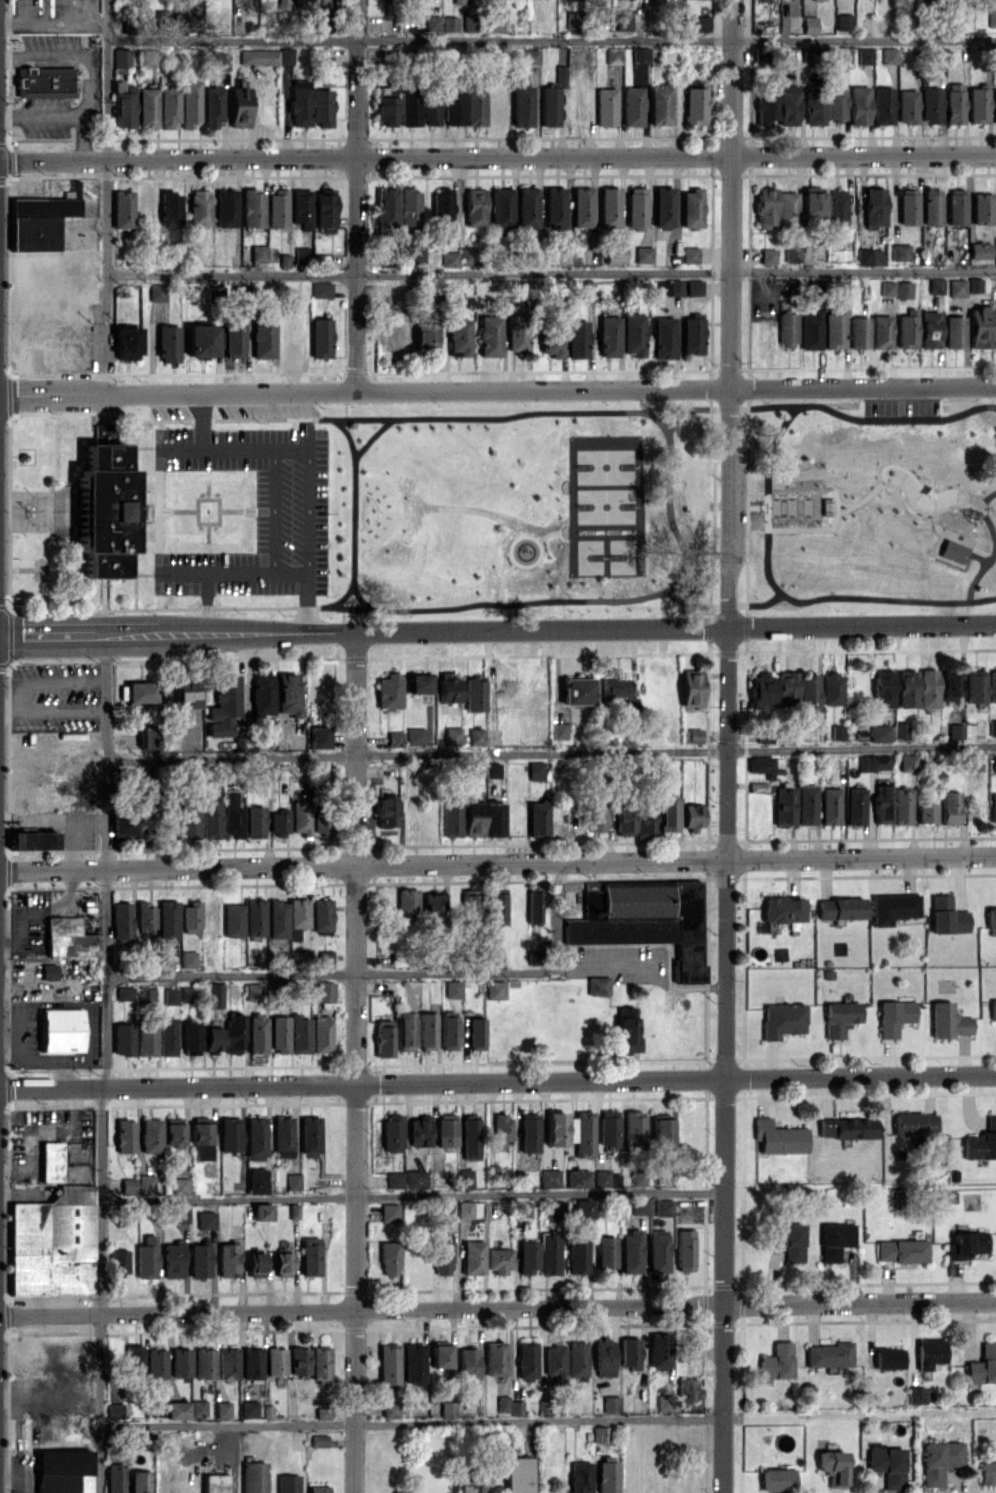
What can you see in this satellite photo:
building: (299, 0)
building: (809, 0)
building: (457, 1)
building: (280, 4)
building: (991, 18)
building: (570, 19)
building: (623, 19)
building: (180, 21)
building: (844, 21)
road: (53, 22)
building: (495, 22)
building: (432, 23)
building: (450, 23)
building: (472, 23)
building: (701, 23)
building: (809, 24)
road: (551, 38)
building: (640, 54)
building: (286, 55)
building: (613, 55)
building: (864, 55)
building: (889, 55)
building: (259, 56)
building: (531, 56)
building: (147, 57)
building: (121, 59)
building: (221, 61)
building: (560, 74)
building: (44, 81)
building: (190, 102)
building: (300, 103)
building: (835, 103)
building: (954, 103)
building: (659, 104)
building: (858, 104)
building: (930, 104)
building: (123, 105)
building: (386, 105)
building: (695, 105)
building: (787, 105)
building: (883, 105)
building: (978, 105)
building: (994, 105)
building: (168, 106)
building: (212, 106)
building: (239, 106)
building: (453, 106)
building: (522, 106)
building: (549, 106)
building: (632, 106)
building: (766, 106)
building: (906, 106)
building: (147, 107)
building: (321, 107)
building: (409, 107)
building: (475, 107)
building: (605, 107)
building: (814, 107)
building: (430, 109)
road: (498, 156)
building: (74, 188)
road: (356, 195)
road: (106, 196)
building: (812, 203)
building: (409, 205)
building: (475, 206)
building: (663, 206)
building: (836, 206)
building: (907, 206)
building: (956, 206)
building: (994, 206)
building: (44, 207)
building: (200, 207)
building: (253, 207)
building: (277, 207)
building: (387, 207)
building: (442, 207)
building: (527, 207)
building: (554, 207)
building: (582, 207)
building: (609, 207)
building: (636, 207)
building: (692, 207)
building: (787, 207)
building: (874, 207)
building: (931, 207)
building: (170, 208)
building: (226, 208)
building: (301, 208)
building: (765, 208)
building: (981, 208)
building: (122, 209)
building: (501, 209)
building: (323, 210)
building: (34, 233)
building: (979, 250)
building: (899, 252)
building: (259, 253)
building: (614, 253)
building: (792, 253)
building: (302, 254)
building: (643, 254)
building: (689, 254)
building: (416, 255)
building: (466, 256)
building: (768, 256)
building: (868, 256)
building: (449, 258)
road: (551, 272)
building: (974, 284)
building: (935, 285)
building: (669, 287)
building: (694, 287)
building: (957, 287)
building: (887, 288)
building: (321, 289)
building: (903, 289)
building: (157, 292)
building: (835, 326)
building: (979, 327)
building: (787, 328)
building: (811, 329)
building: (907, 329)
building: (929, 329)
building: (994, 330)
building: (881, 331)
building: (954, 331)
building: (516, 332)
building: (859, 332)
building: (633, 334)
building: (692, 334)
building: (235, 335)
building: (425, 335)
building: (490, 335)
building: (609, 336)
building: (320, 337)
building: (459, 337)
building: (262, 338)
building: (577, 338)
building: (663, 338)
building: (200, 340)
building: (552, 341)
building: (127, 342)
building: (168, 343)
road: (650, 387)
road: (152, 392)
road: (862, 404)
parking lot: (55, 406)
parking lot: (269, 409)
parking lot: (171, 410)
road: (531, 411)
road: (343, 428)
building: (103, 456)
park: (605, 479)
road: (209, 489)
parking lot: (291, 489)
flagpole: (16, 492)
road: (307, 492)
road: (748, 504)
road: (715, 506)
flagpole: (15, 507)
road: (135, 507)
park: (658, 508)
road: (192, 509)
road: (774, 510)
road: (274, 511)
road: (30, 519)
building: (103, 521)
road: (209, 522)
road: (209, 529)
road: (774, 544)
building: (952, 551)
road: (307, 586)
road: (9, 596)
road: (861, 597)
road: (533, 604)
road: (497, 629)
building: (420, 683)
building: (950, 683)
building: (992, 685)
building: (975, 686)
building: (449, 687)
building: (615, 687)
building: (691, 687)
building: (787, 687)
building: (883, 688)
building: (907, 688)
building: (928, 688)
building: (761, 689)
building: (831, 689)
building: (389, 691)
building: (577, 691)
building: (139, 692)
building: (180, 693)
building: (474, 693)
building: (808, 693)
building: (262, 694)
building: (288, 694)
building: (631, 703)
building: (224, 707)
building: (979, 726)
building: (992, 727)
building: (900, 729)
building: (559, 730)
building: (955, 731)
building: (879, 733)
building: (453, 735)
building: (693, 735)
building: (416, 736)
building: (476, 736)
building: (148, 737)
building: (318, 737)
building: (395, 738)
road: (727, 746)
road: (550, 753)
building: (878, 761)
building: (863, 762)
building: (907, 762)
building: (973, 762)
building: (760, 764)
building: (994, 764)
building: (492, 770)
building: (535, 770)
building: (144, 783)
building: (758, 786)
building: (882, 803)
building: (784, 804)
building: (806, 804)
building: (829, 806)
building: (854, 806)
building: (901, 806)
building: (950, 806)
building: (992, 807)
building: (386, 811)
building: (926, 812)
building: (668, 814)
building: (231, 815)
building: (596, 815)
building: (692, 816)
building: (300, 817)
building: (450, 818)
building: (494, 818)
building: (538, 818)
building: (210, 819)
building: (472, 819)
building: (645, 819)
building: (624, 820)
building: (254, 821)
building: (189, 822)
building: (279, 822)
building: (122, 823)
building: (144, 823)
building: (321, 826)
building: (33, 839)
road: (498, 862)
building: (407, 903)
building: (432, 904)
building: (469, 906)
building: (534, 907)
building: (893, 907)
building: (496, 908)
building: (840, 908)
building: (781, 909)
building: (298, 913)
building: (321, 914)
building: (145, 915)
building: (946, 916)
building: (190, 917)
building: (254, 917)
road: (555, 917)
building: (991, 917)
building: (278, 919)
building: (645, 919)
building: (233, 920)
building: (121, 921)
building: (168, 921)
building: (68, 938)
building: (494, 956)
building: (297, 957)
building: (188, 958)
building: (324, 958)
road: (639, 964)
road: (355, 970)
building: (48, 971)
road: (326, 975)
building: (598, 985)
road: (32, 989)
building: (453, 989)
building: (495, 989)
building: (254, 991)
building: (325, 991)
building: (186, 993)
building: (146, 994)
building: (215, 995)
building: (170, 996)
building: (992, 1008)
building: (893, 1016)
building: (839, 1017)
building: (782, 1019)
building: (948, 1021)
building: (625, 1028)
building: (61, 1030)
building: (405, 1031)
building: (426, 1031)
building: (448, 1032)
building: (233, 1033)
building: (256, 1033)
building: (278, 1033)
building: (476, 1033)
building: (299, 1034)
building: (321, 1035)
building: (166, 1036)
building: (190, 1037)
building: (383, 1038)
building: (123, 1039)
building: (145, 1039)
building: (212, 1039)
road: (105, 1064)
road: (497, 1081)
building: (914, 1123)
building: (609, 1127)
building: (555, 1128)
building: (634, 1128)
building: (846, 1128)
building: (446, 1129)
building: (501, 1130)
building: (419, 1131)
building: (661, 1131)
building: (392, 1132)
building: (529, 1132)
building: (582, 1133)
building: (173, 1134)
building: (230, 1134)
building: (150, 1135)
building: (309, 1135)
building: (124, 1136)
building: (282, 1136)
building: (255, 1137)
building: (470, 1137)
building: (778, 1137)
building: (201, 1140)
building: (981, 1142)
building: (50, 1162)
building: (416, 1178)
building: (465, 1178)
building: (549, 1178)
building: (578, 1178)
building: (602, 1178)
building: (394, 1179)
building: (256, 1181)
building: (293, 1181)
building: (145, 1184)
building: (128, 1185)
building: (180, 1186)
road: (412, 1196)
building: (639, 1206)
building: (663, 1207)
building: (468, 1209)
building: (522, 1209)
building: (582, 1209)
building: (261, 1211)
building: (388, 1212)
building: (180, 1214)
building: (206, 1219)
building: (789, 1240)
building: (835, 1240)
building: (52, 1243)
building: (965, 1245)
building: (684, 1250)
building: (900, 1250)
building: (631, 1251)
building: (605, 1252)
building: (657, 1253)
building: (540, 1254)
building: (309, 1256)
building: (576, 1256)
building: (146, 1257)
building: (442, 1257)
building: (472, 1257)
building: (389, 1258)
building: (227, 1259)
building: (172, 1260)
building: (199, 1260)
building: (497, 1260)
building: (118, 1261)
building: (254, 1264)
building: (282, 1264)
road: (675, 1305)
road: (176, 1312)
building: (658, 1349)
building: (929, 1352)
building: (630, 1353)
building: (827, 1354)
building: (439, 1356)
building: (603, 1357)
building: (494, 1358)
building: (887, 1358)
building: (576, 1359)
building: (133, 1360)
building: (299, 1360)
building: (525, 1360)
building: (275, 1361)
building: (180, 1362)
building: (413, 1362)
building: (467, 1362)
building: (155, 1363)
building: (204, 1363)
building: (227, 1363)
building: (251, 1363)
building: (319, 1363)
building: (553, 1363)
building: (775, 1363)
building: (982, 1364)
building: (388, 1365)
building: (687, 1393)
building: (915, 1395)
road: (49, 1396)
road: (353, 1401)
building: (663, 1402)
building: (502, 1403)
building: (610, 1403)
building: (198, 1408)
building: (248, 1408)
building: (447, 1408)
building: (516, 1408)
building: (222, 1409)
building: (114, 1410)
building: (176, 1410)
building: (389, 1410)
building: (322, 1413)
road: (859, 1415)
road: (410, 1422)
building: (599, 1433)
building: (319, 1440)
road: (232, 1458)
building: (939, 1460)
building: (886, 1464)
building: (832, 1467)
building: (62, 1471)
building: (988, 1472)
building: (518, 1475)
building: (253, 1477)
building: (579, 1477)
building: (606, 1477)
building: (114, 1478)
building: (776, 1479)
building: (138, 1481)
building: (214, 1483)
building: (287, 1483)
building: (465, 1487)
building: (317, 1489)

